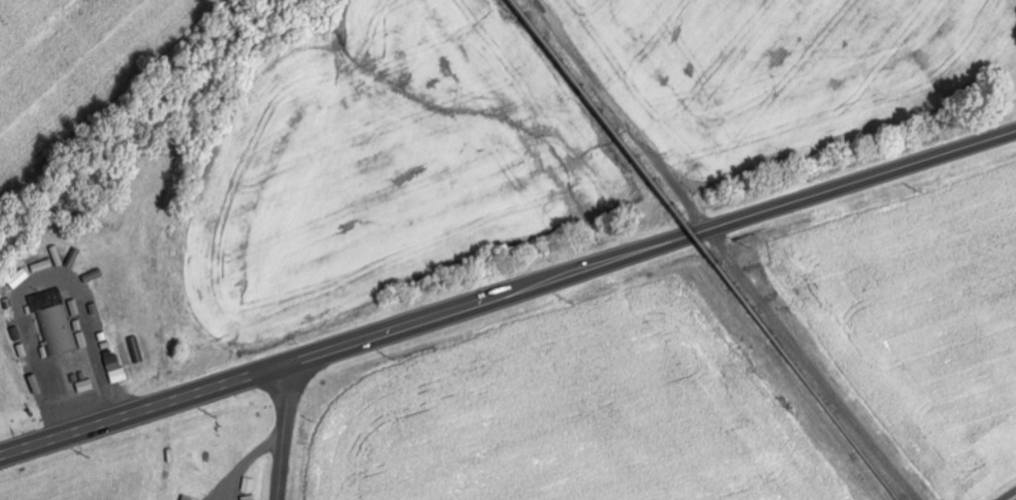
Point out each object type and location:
road: (507, 292)
building: (58, 330)
building: (117, 369)
building: (86, 386)
road: (283, 431)
road: (1008, 494)
building: (187, 498)

